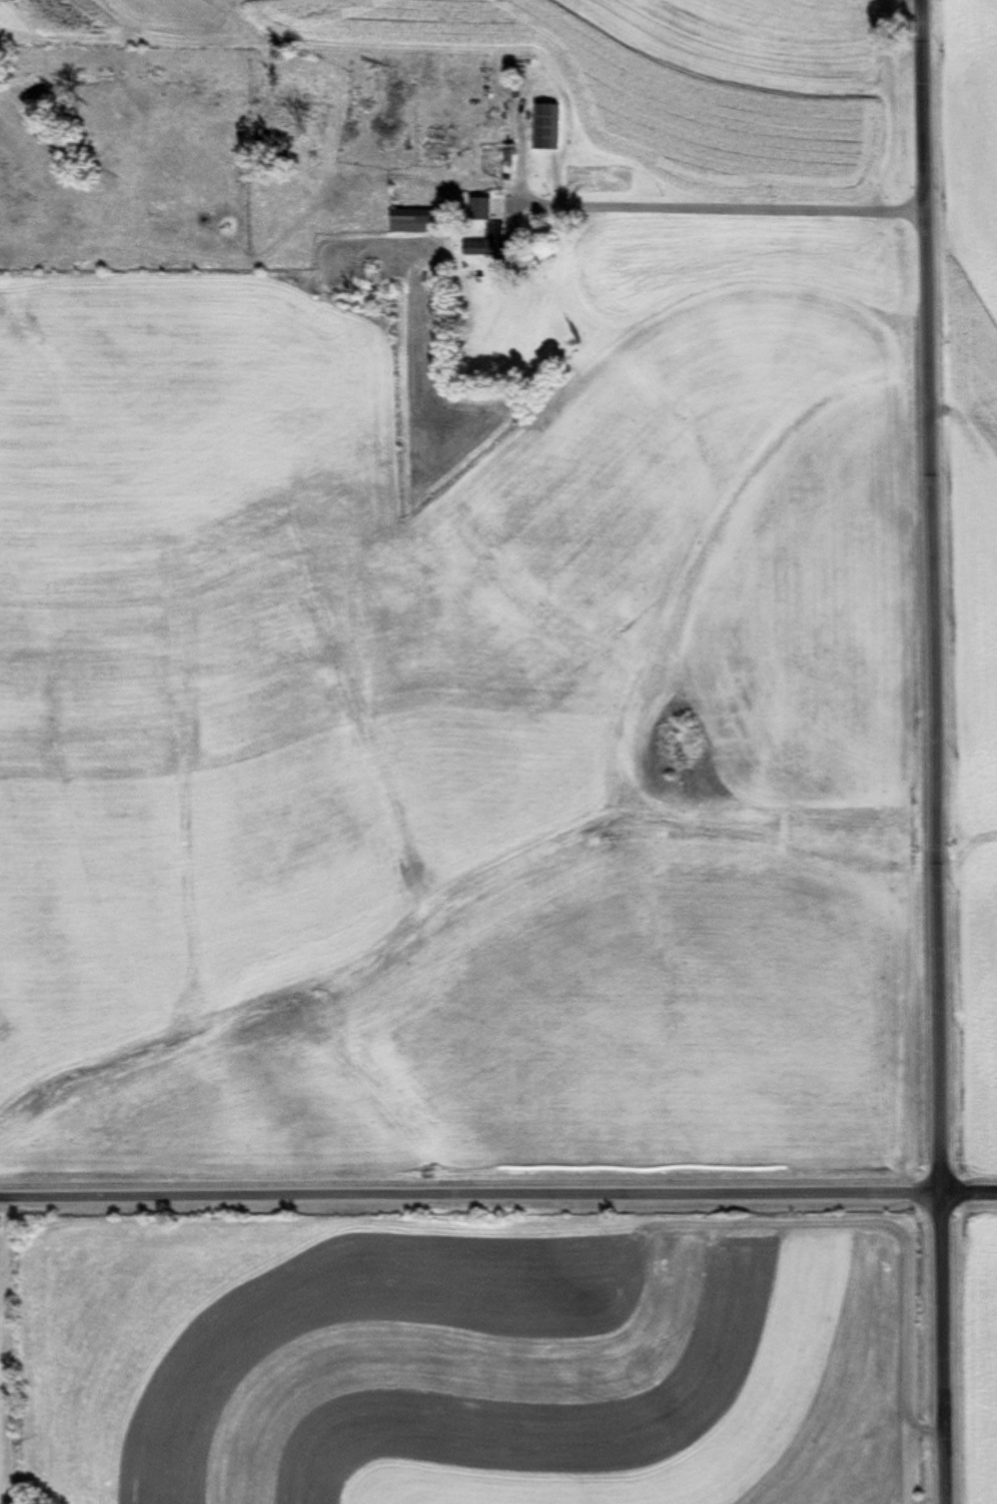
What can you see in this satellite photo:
power tower: (18, 3)
building: (549, 127)
building: (442, 157)
road: (763, 220)
building: (413, 222)
road: (905, 752)
road: (498, 1179)

